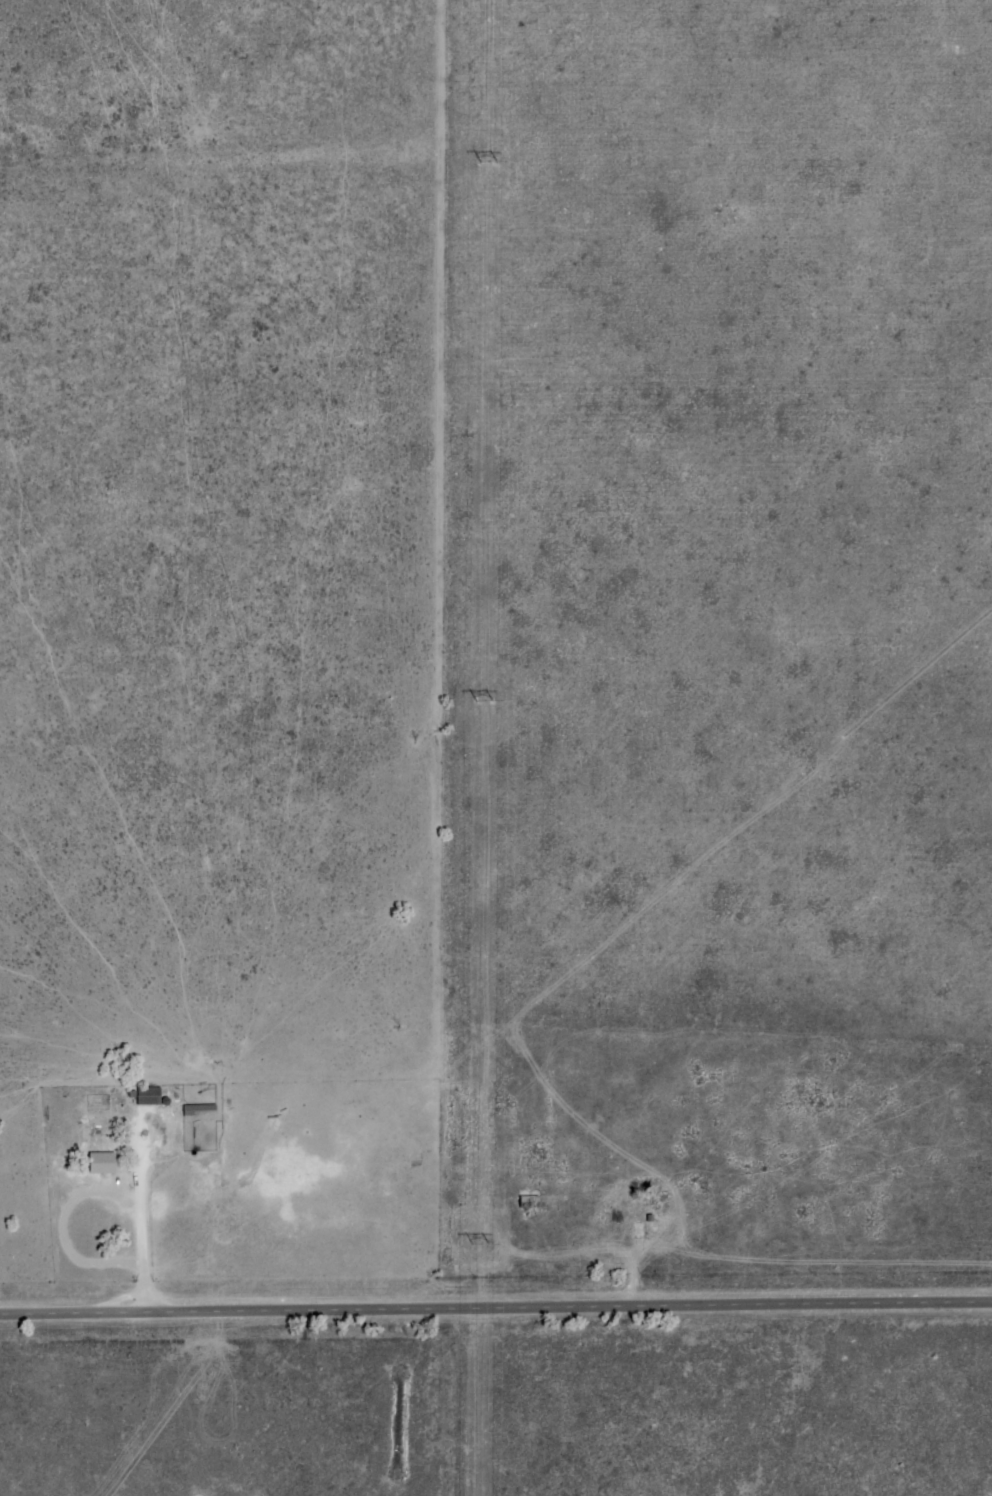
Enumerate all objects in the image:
power tower: (486, 159)
power tower: (482, 701)
building: (149, 1095)
building: (199, 1110)
building: (102, 1162)
building: (529, 1201)
road: (143, 1224)
power tower: (477, 1245)
road: (496, 1313)

